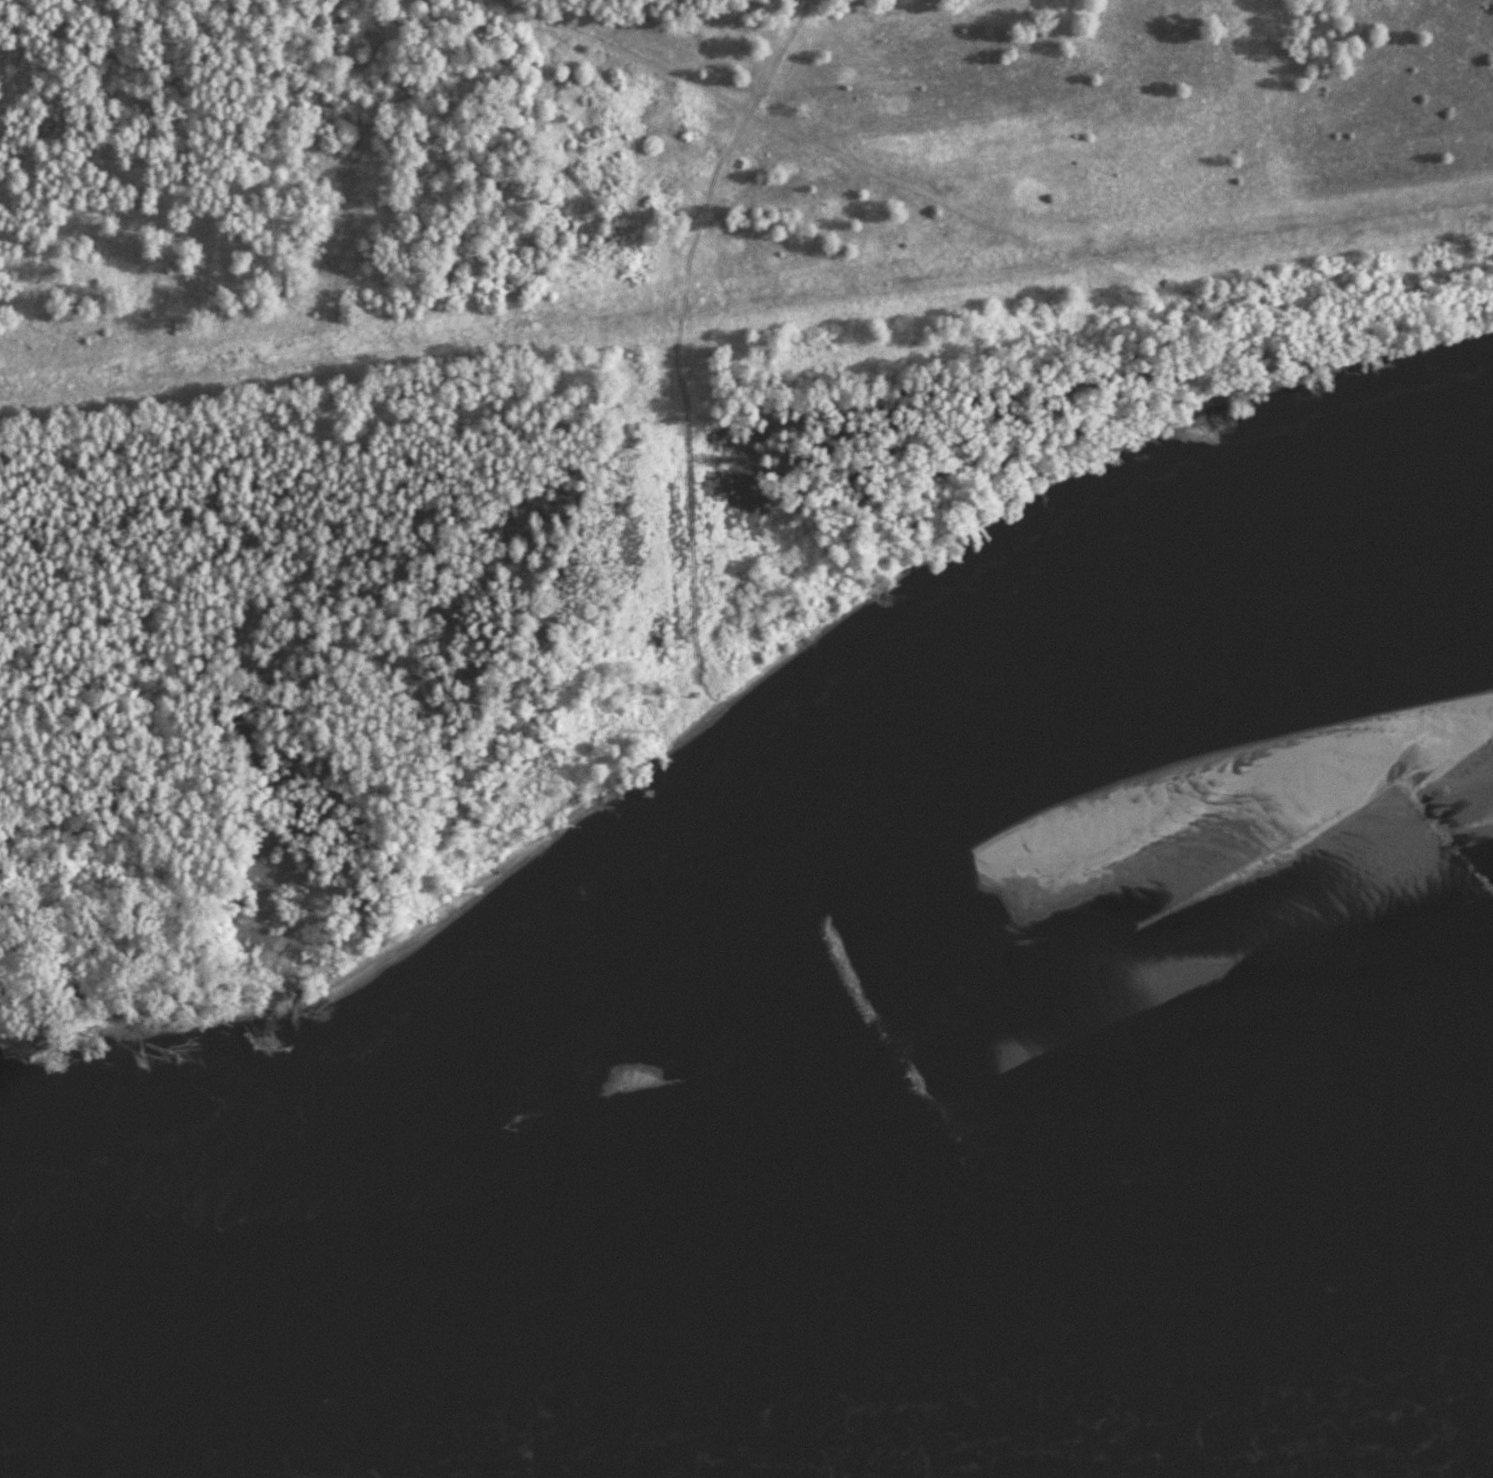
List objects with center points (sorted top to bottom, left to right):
river: (1192, 1422)

